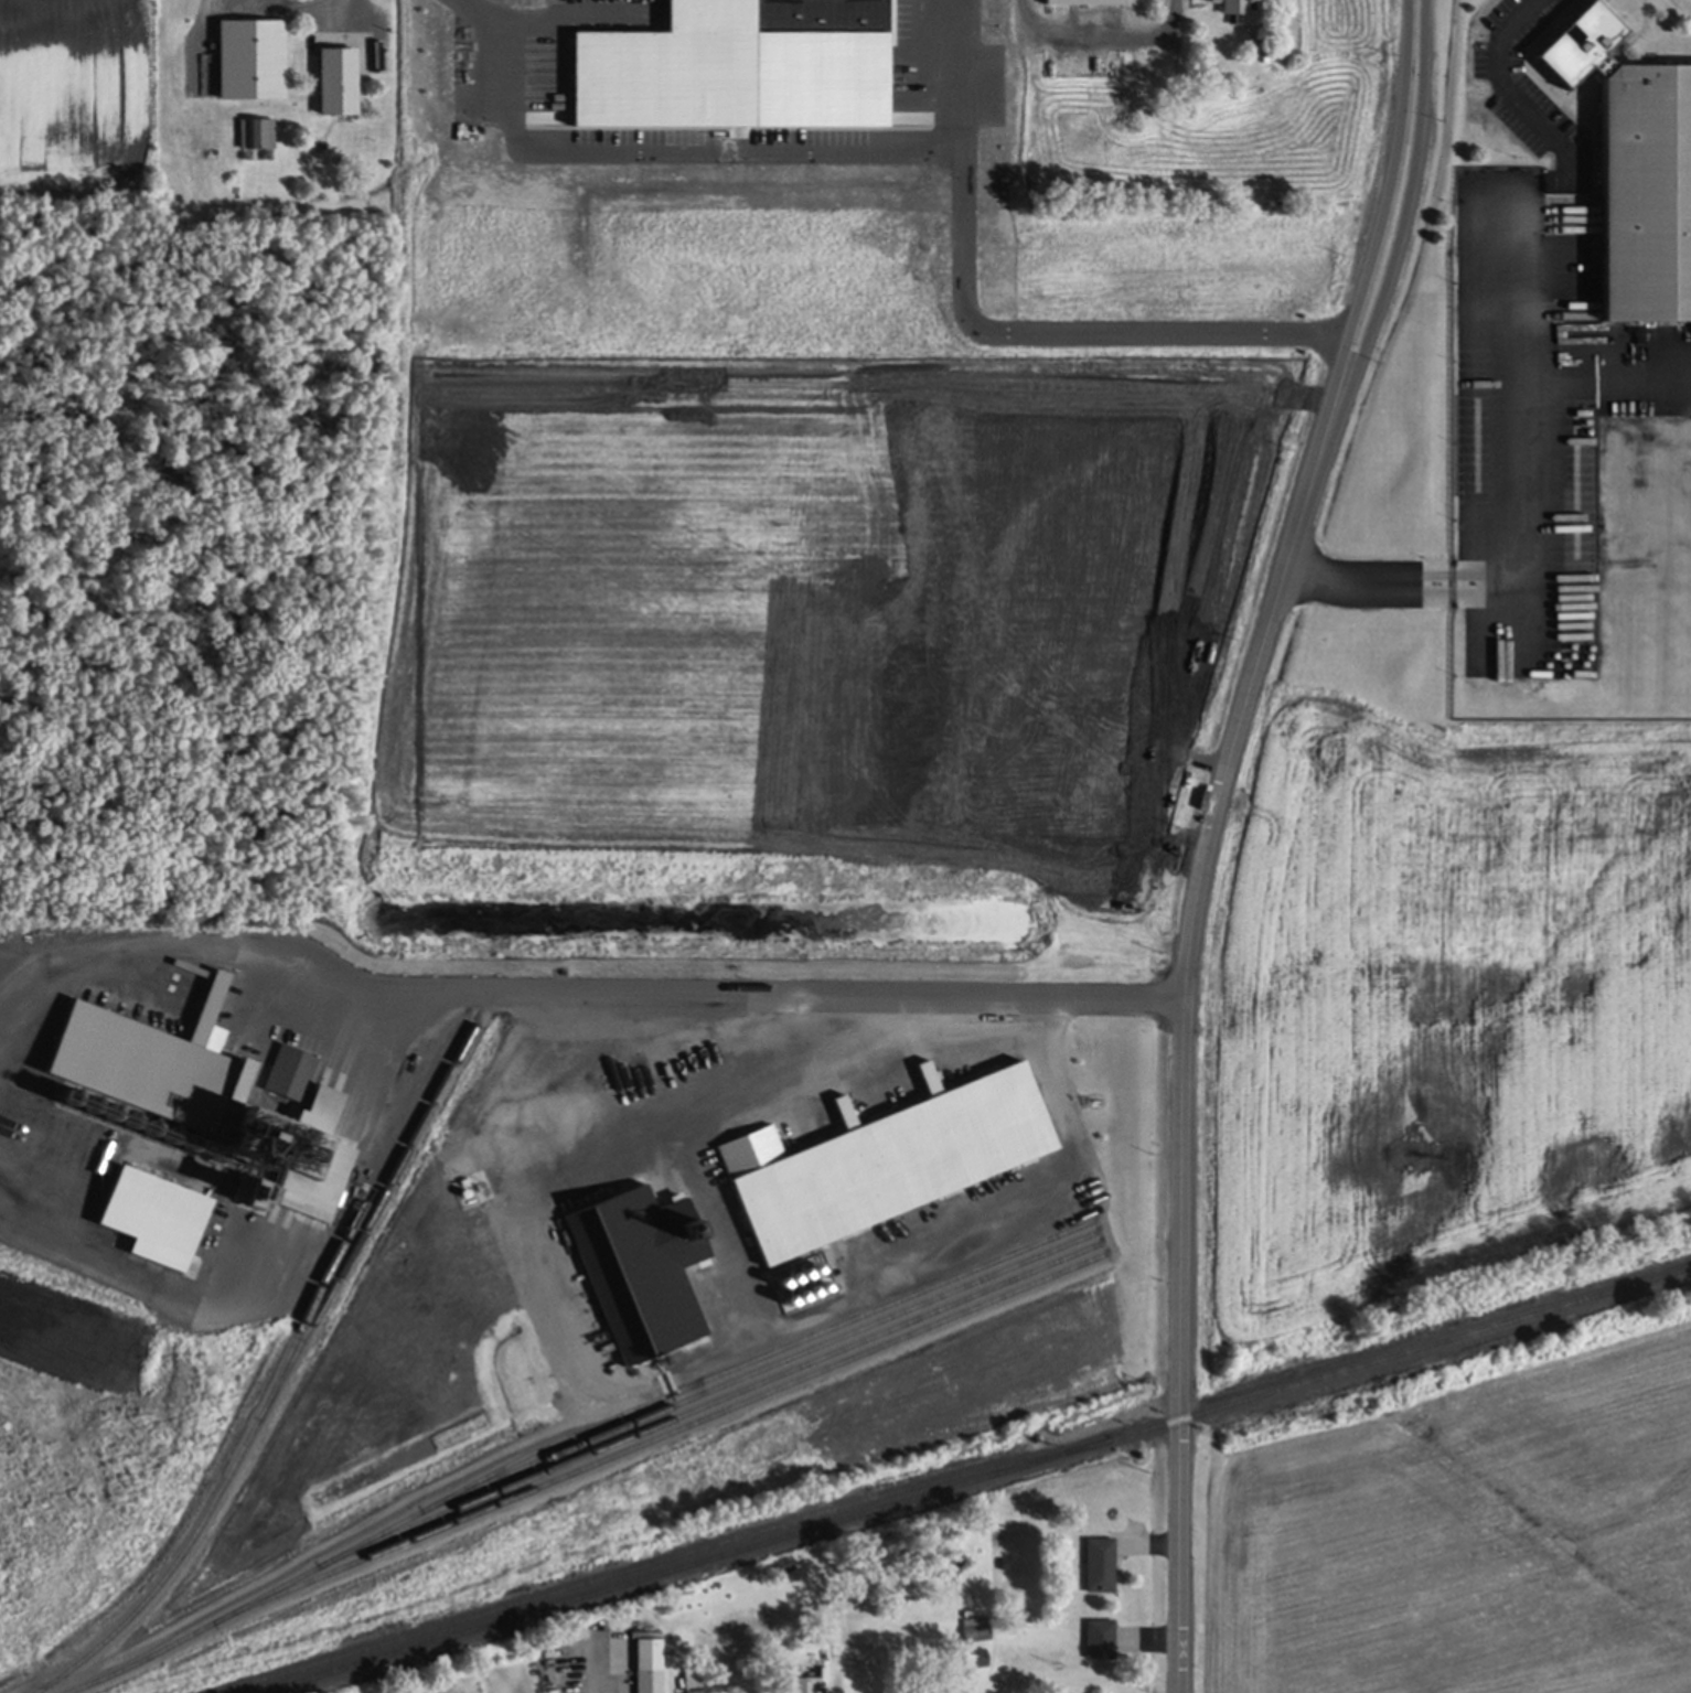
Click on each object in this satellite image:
building: (1083, 2)
road: (295, 4)
building: (1233, 9)
building: (921, 19)
building: (980, 36)
road: (1100, 36)
building: (1260, 46)
building: (1083, 63)
building: (880, 76)
building: (338, 81)
crop: (78, 97)
building: (256, 132)
road: (663, 153)
building: (1637, 172)
road: (1372, 256)
road: (1395, 259)
road: (997, 330)
road: (1516, 366)
road: (1603, 381)
crop: (789, 641)
building: (1099, 752)
building: (1071, 881)
crop: (1435, 1024)
road: (1178, 1091)
building: (880, 1164)
railway: (352, 1234)
railway: (363, 1234)
building: (640, 1269)
railway: (772, 1353)
railway: (777, 1364)
railway: (725, 1399)
railway: (673, 1433)
railway: (974, 1480)
crop: (1456, 1532)
railway: (662, 1561)
building: (1100, 1565)
railway: (159, 1585)
railway: (264, 1597)
building: (976, 1629)
building: (1100, 1640)
building: (977, 1658)
building: (649, 1661)
building: (692, 1680)
building: (803, 1685)
building: (695, 1691)

